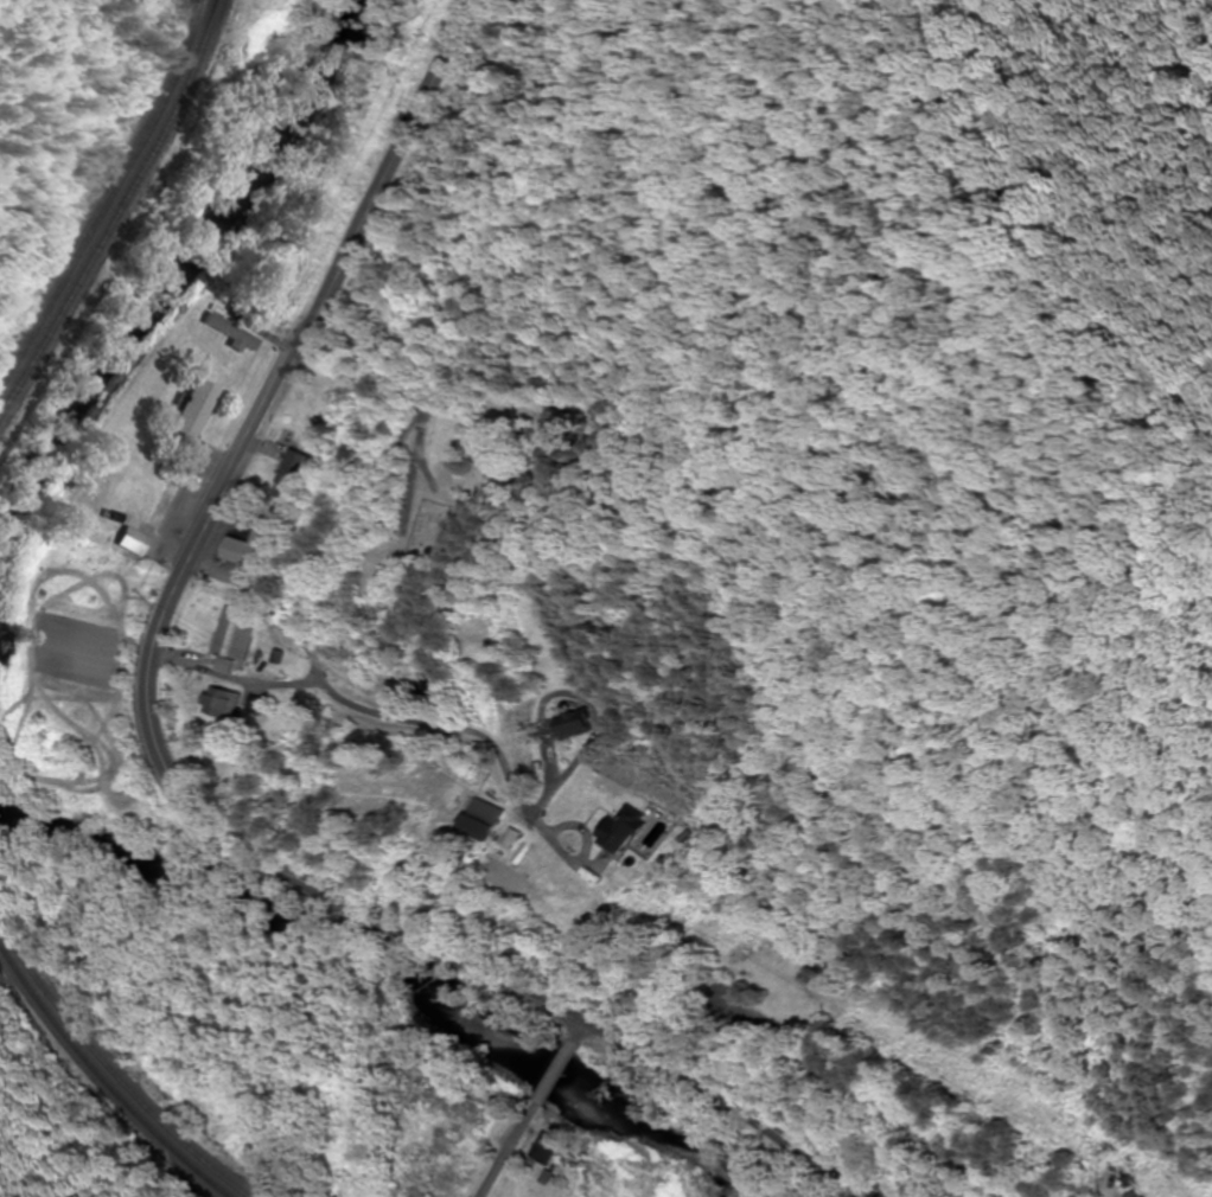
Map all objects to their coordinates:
railway: (116, 213)
river: (178, 267)
building: (232, 334)
building: (194, 409)
park: (496, 450)
building: (287, 475)
road: (364, 487)
building: (245, 549)
building: (232, 634)
road: (288, 681)
building: (218, 700)
road: (439, 724)
building: (576, 724)
road: (166, 774)
building: (487, 819)
building: (627, 828)
river: (402, 968)
park: (815, 978)
road: (581, 1028)
road: (555, 1073)
railway: (110, 1075)
road: (886, 1099)
building: (549, 1148)
road: (505, 1151)
building: (1118, 1169)
building: (1136, 1195)

